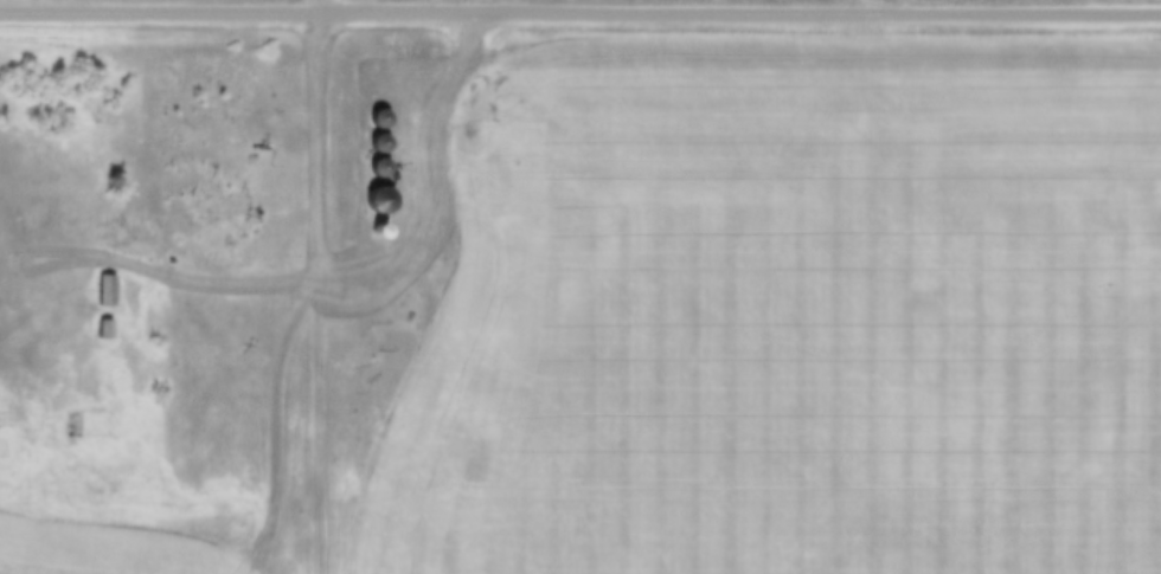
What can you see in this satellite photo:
road: (579, 15)
building: (383, 118)
building: (384, 143)
building: (383, 168)
building: (383, 200)
road: (312, 296)
road: (213, 297)

